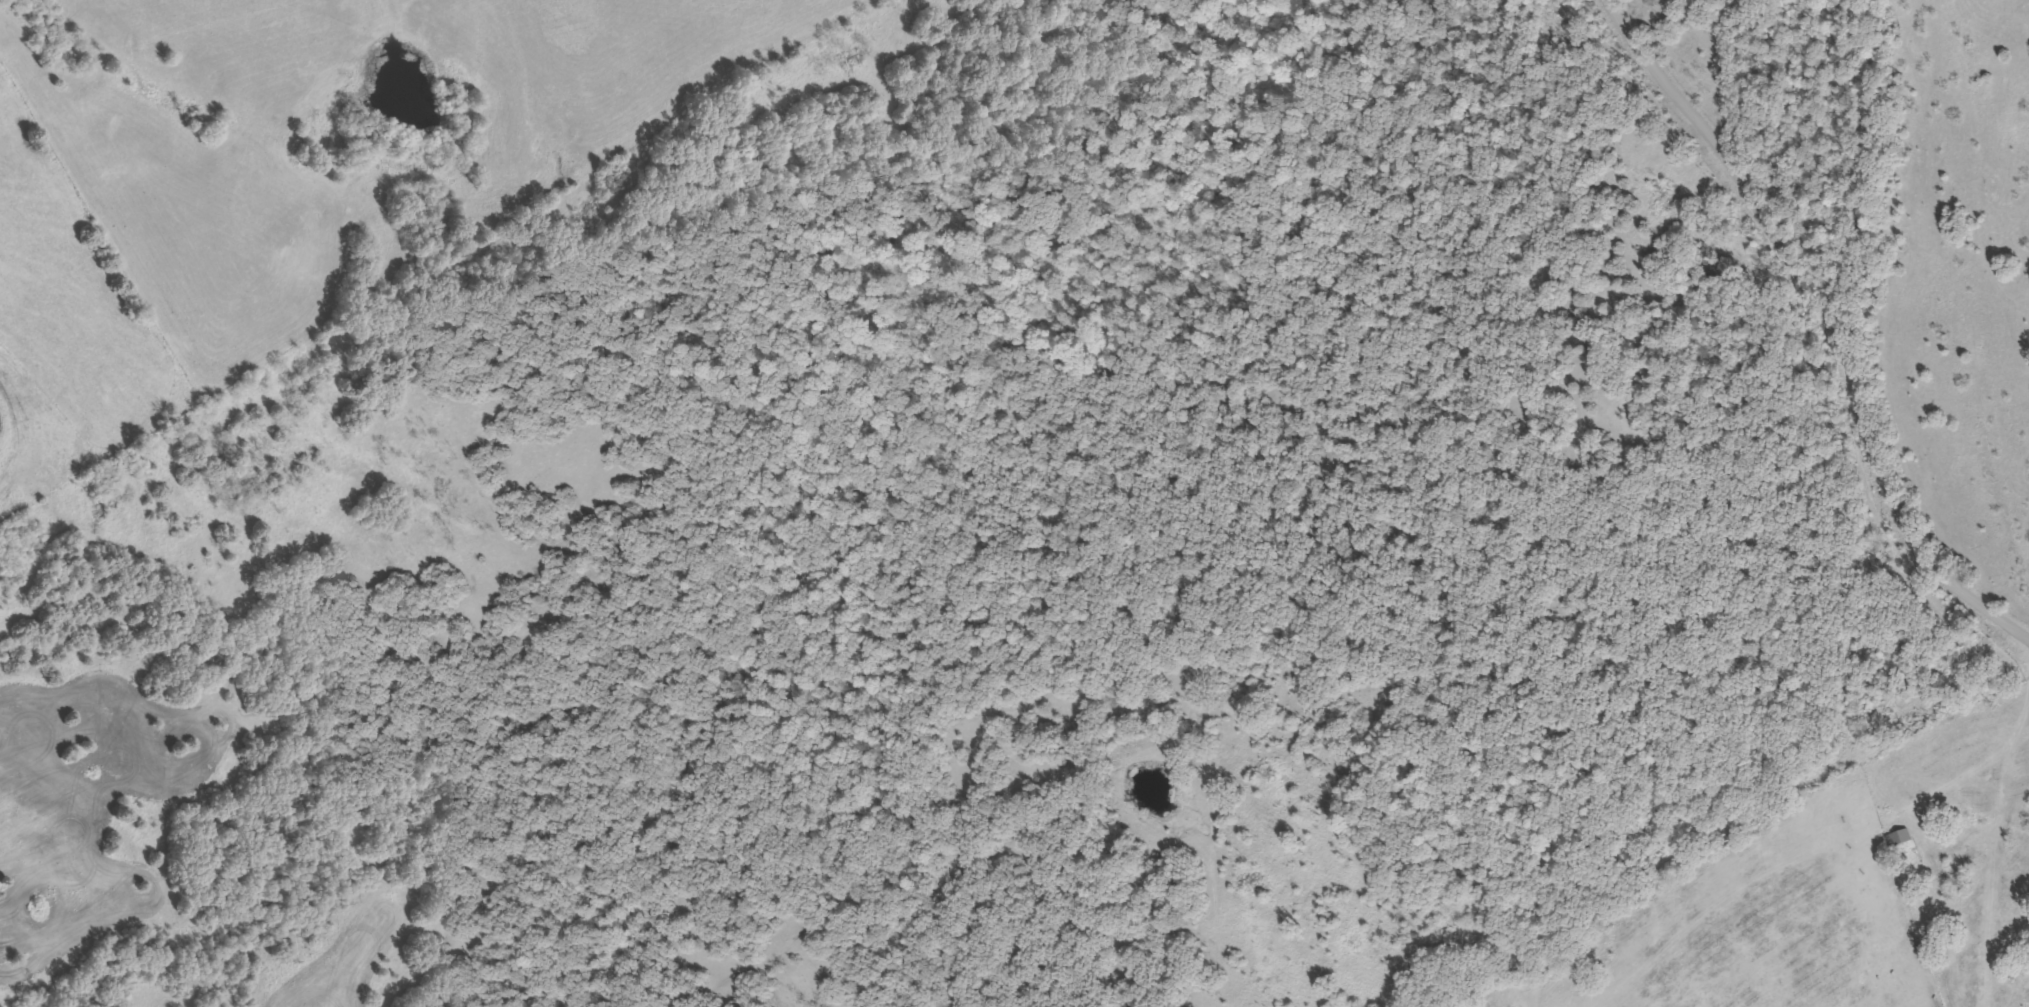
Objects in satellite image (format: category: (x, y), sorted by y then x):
road: (1825, 317)
building: (1898, 836)
road: (1820, 841)

